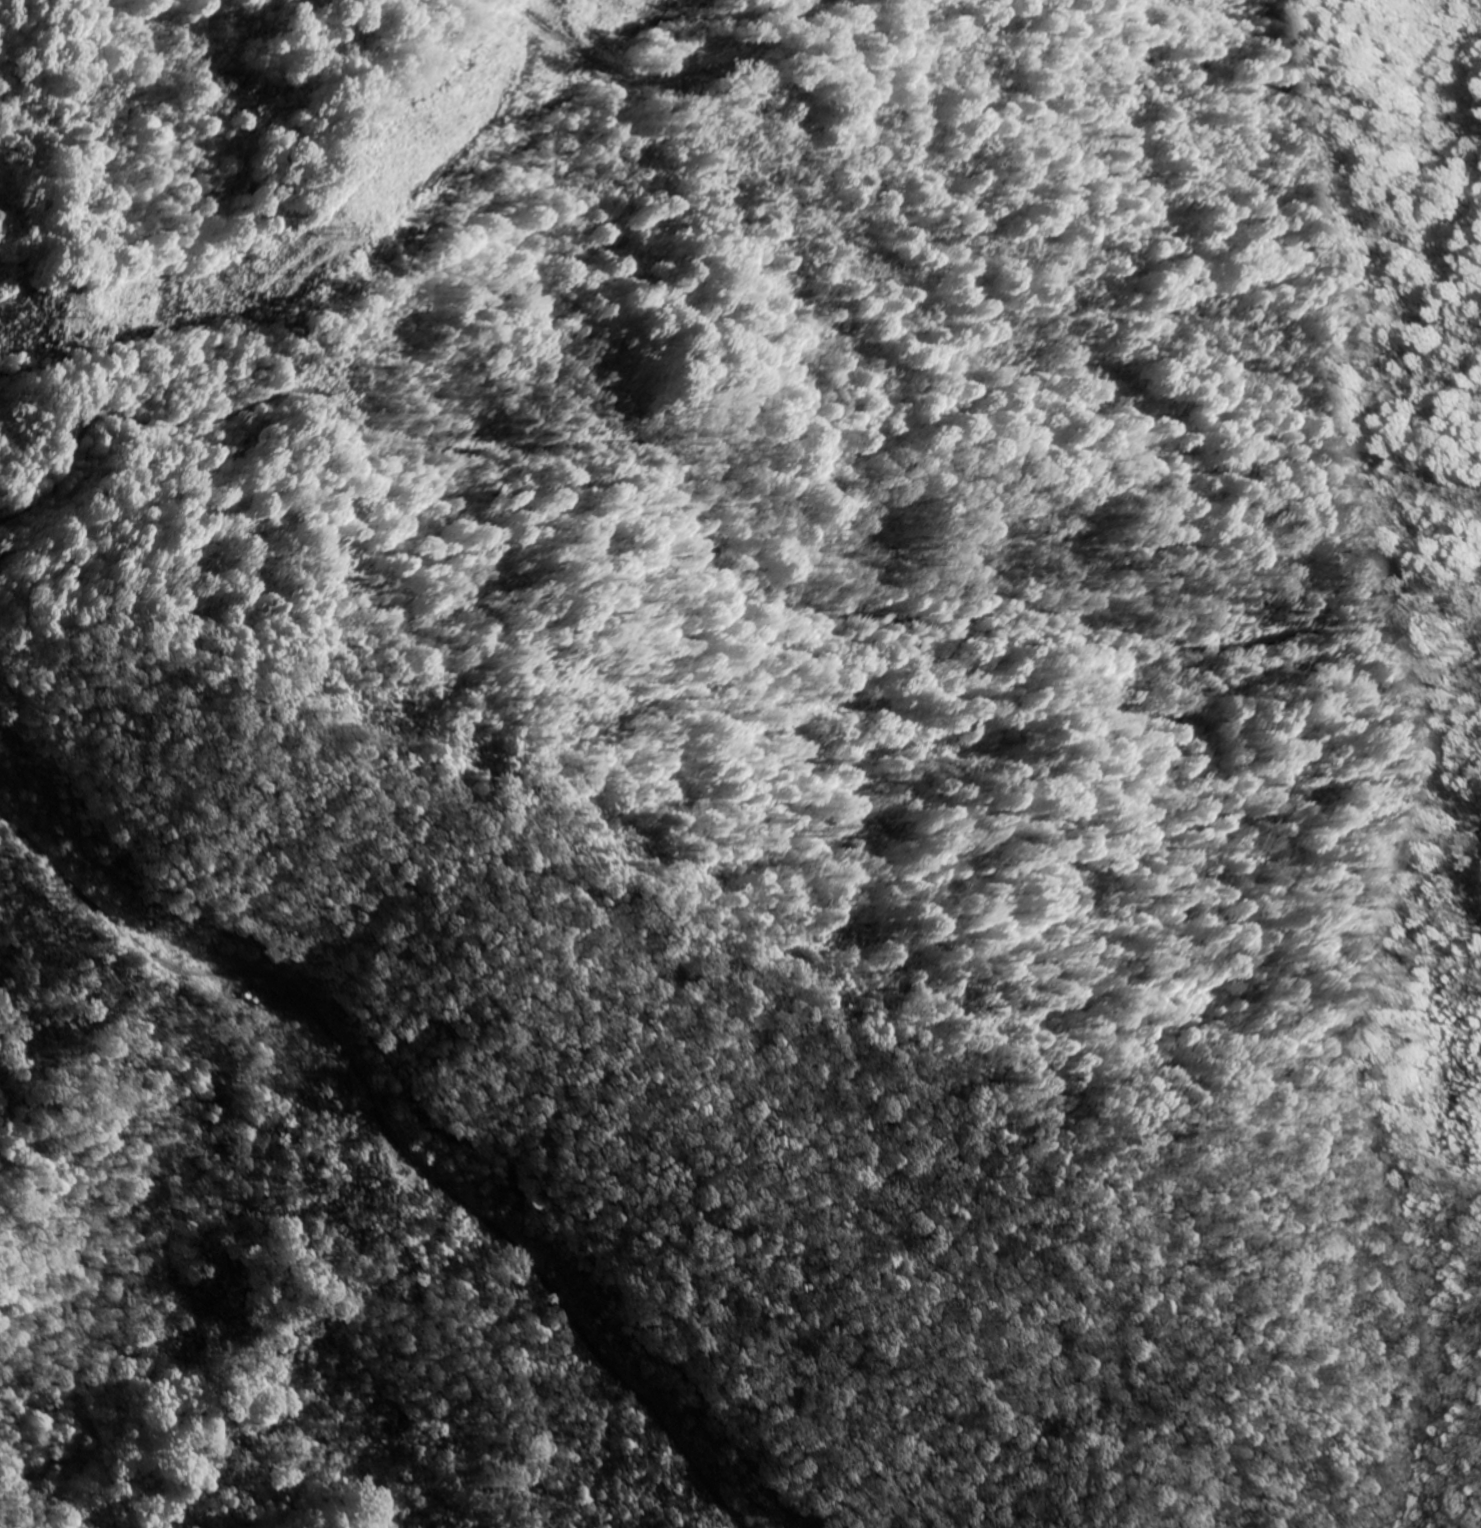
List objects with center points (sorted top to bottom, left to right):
building: (498, 494)
building: (47, 536)

